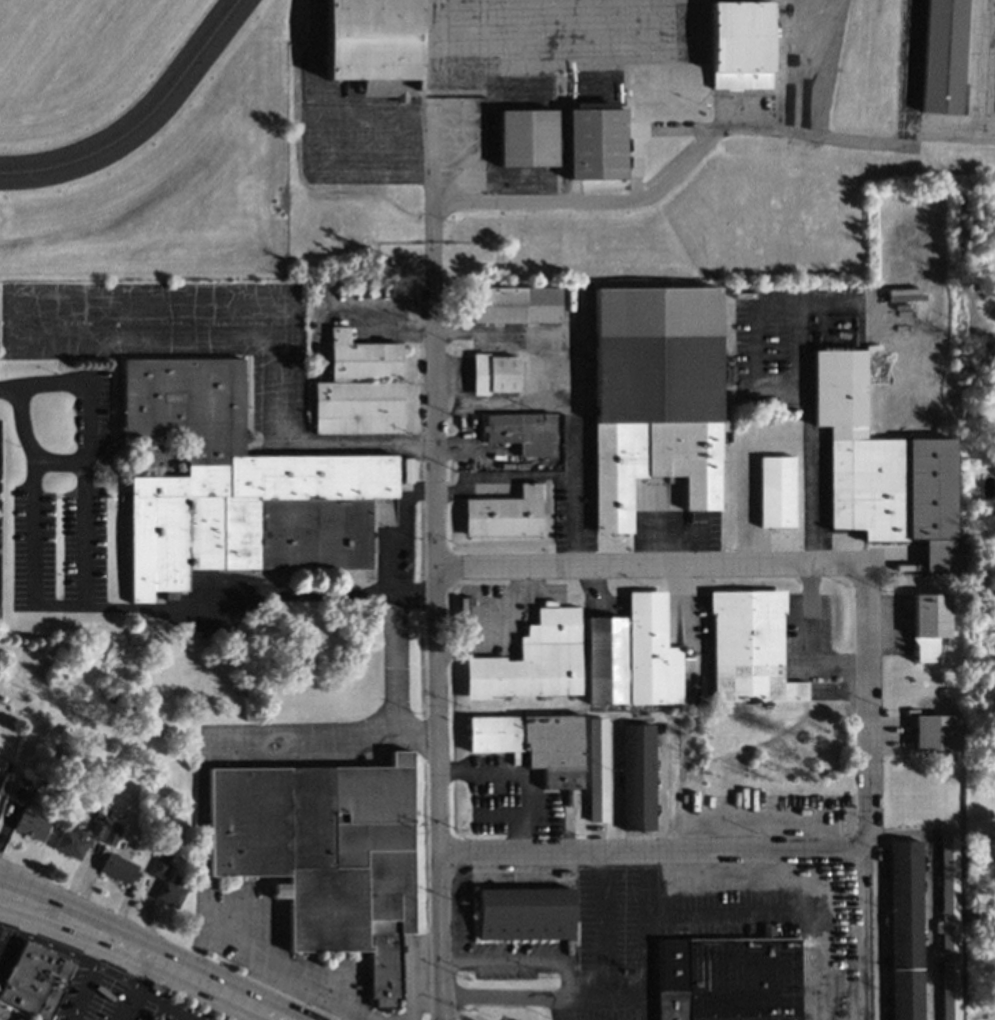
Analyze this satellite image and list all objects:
airport hangar: (372, 45)
building: (372, 45)
airport hangar: (737, 46)
building: (737, 46)
airport apron: (548, 49)
airport hangar: (940, 58)
building: (940, 58)
airport taxiway: (141, 120)
airport: (476, 130)
building: (524, 139)
building: (592, 145)
road: (666, 182)
building: (904, 295)
building: (511, 304)
road: (829, 307)
road: (802, 346)
building: (489, 374)
road: (9, 385)
building: (355, 388)
building: (649, 396)
building: (739, 401)
building: (518, 432)
road: (61, 460)
building: (878, 468)
building: (403, 471)
road: (515, 473)
building: (231, 486)
building: (772, 492)
road: (571, 496)
building: (500, 515)
road: (398, 531)
road: (649, 567)
road: (86, 595)
road: (260, 595)
building: (925, 625)
road: (810, 641)
building: (745, 648)
building: (632, 655)
road: (390, 661)
building: (527, 662)
road: (436, 673)
road: (864, 706)
building: (931, 733)
road: (210, 740)
building: (530, 746)
building: (592, 771)
road: (520, 772)
building: (633, 779)
building: (1, 784)
building: (24, 818)
building: (107, 837)
building: (75, 840)
road: (650, 853)
building: (321, 854)
building: (162, 856)
building: (114, 870)
building: (155, 870)
road: (42, 892)
building: (946, 892)
building: (166, 894)
road: (42, 900)
building: (521, 912)
building: (902, 929)
road: (601, 930)
road: (18, 937)
road: (54, 948)
road: (91, 954)
road: (144, 956)
road: (502, 959)
road: (124, 961)
road: (196, 966)
road: (281, 974)
building: (724, 978)
building: (32, 980)
road: (567, 984)
road: (412, 986)
building: (946, 989)
road: (80, 990)
road: (281, 991)
road: (499, 995)
road: (152, 999)
road: (125, 1004)
road: (607, 1005)
road: (274, 1013)
road: (559, 1014)
road: (354, 1016)
road: (437, 1017)
building: (497, 1017)
building: (18, 1018)
building: (150, 1019)

